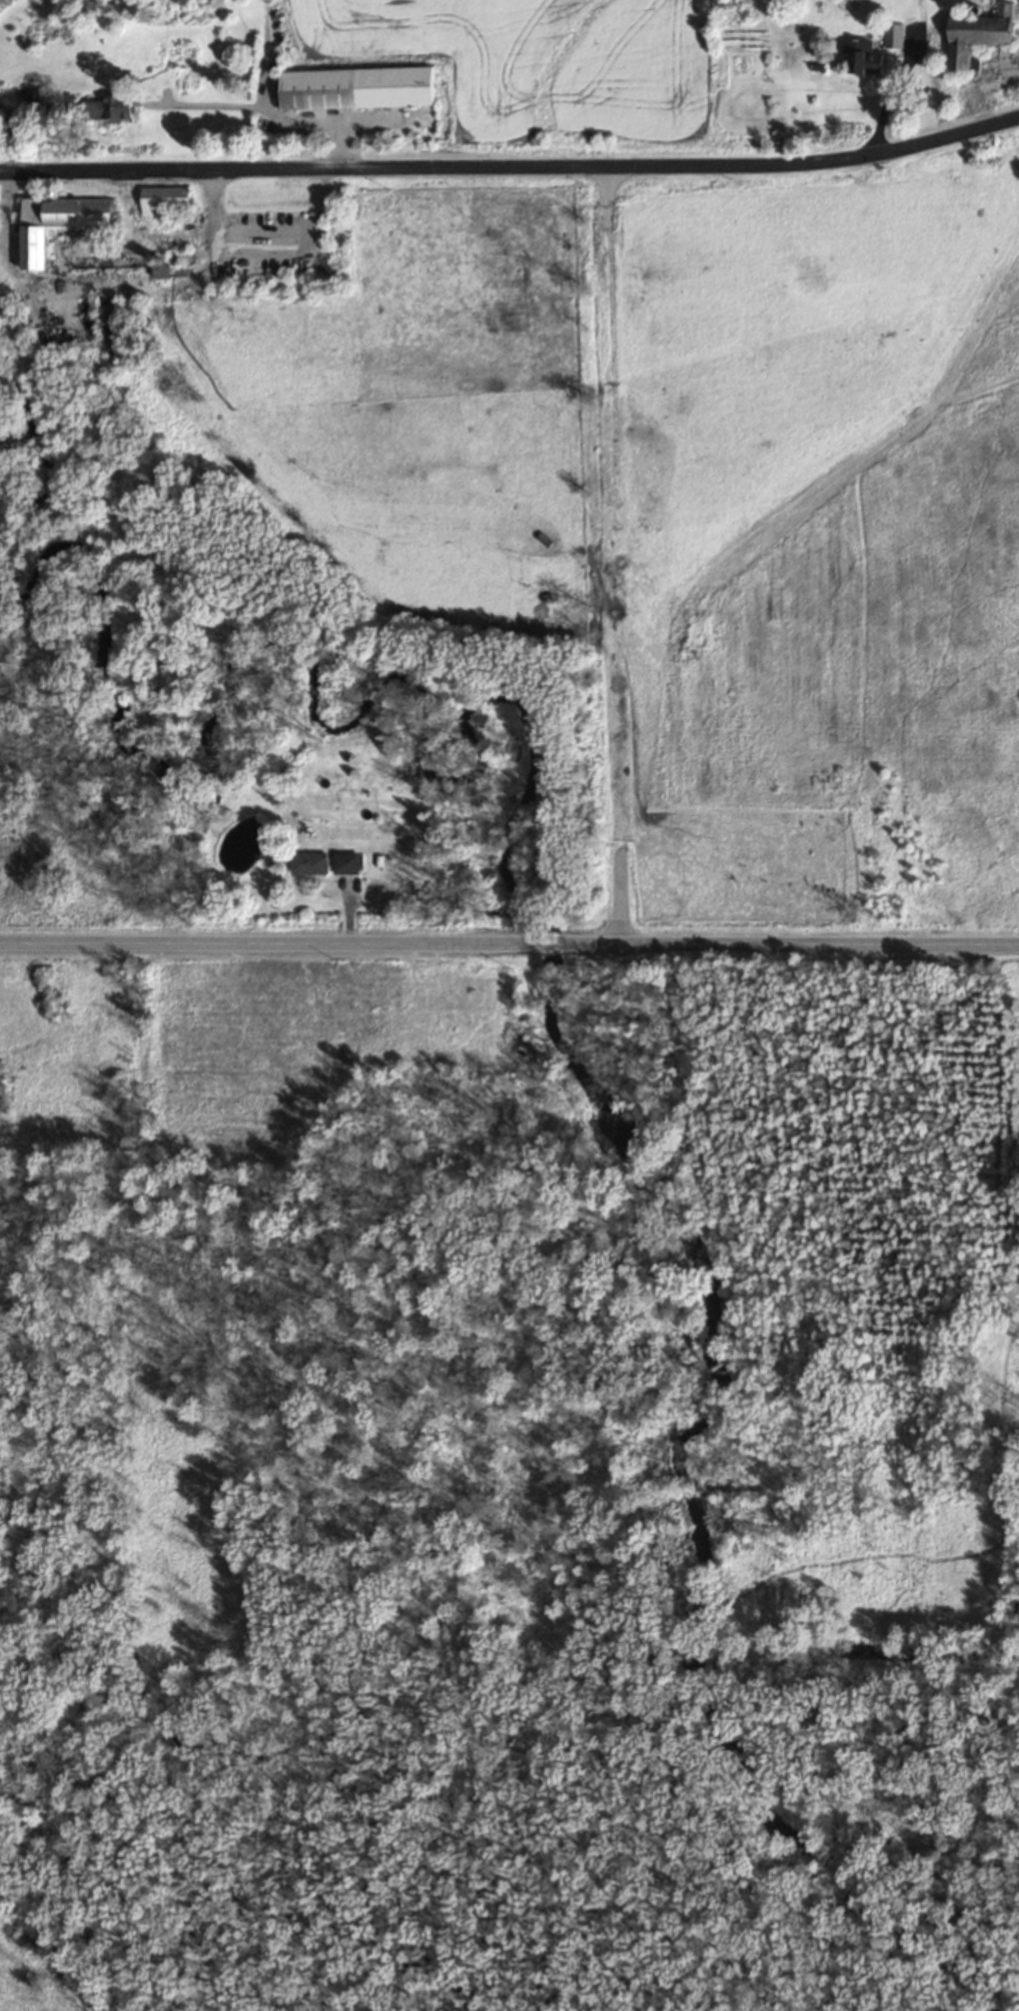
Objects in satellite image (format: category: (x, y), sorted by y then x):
building: (983, 33)
building: (866, 56)
building: (358, 86)
building: (111, 107)
road: (512, 166)
building: (163, 197)
building: (63, 222)
road: (608, 554)
building: (310, 861)
building: (348, 861)
road: (546, 942)
road: (266, 943)
road: (788, 943)

